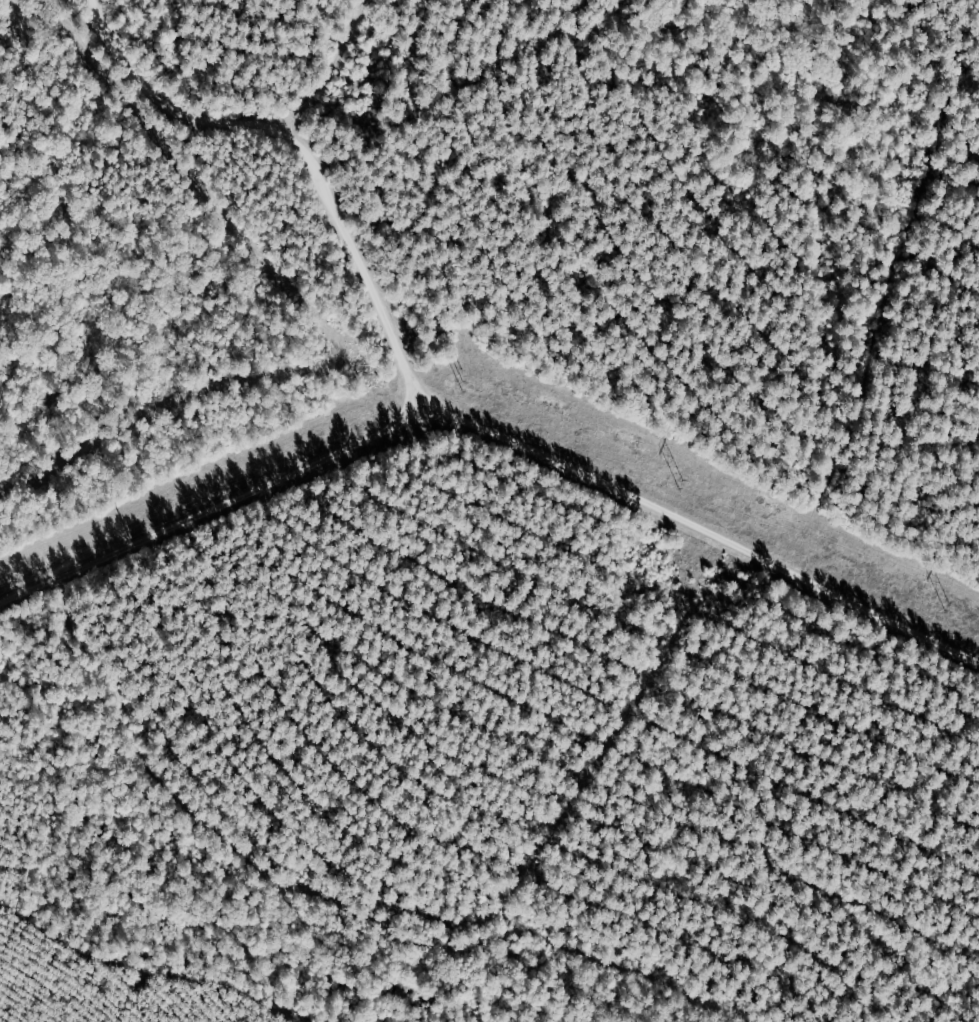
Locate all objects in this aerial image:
road: (295, 142)
power tower: (464, 378)
road: (514, 381)
power tower: (682, 481)
power tower: (123, 526)
power tower: (947, 605)

